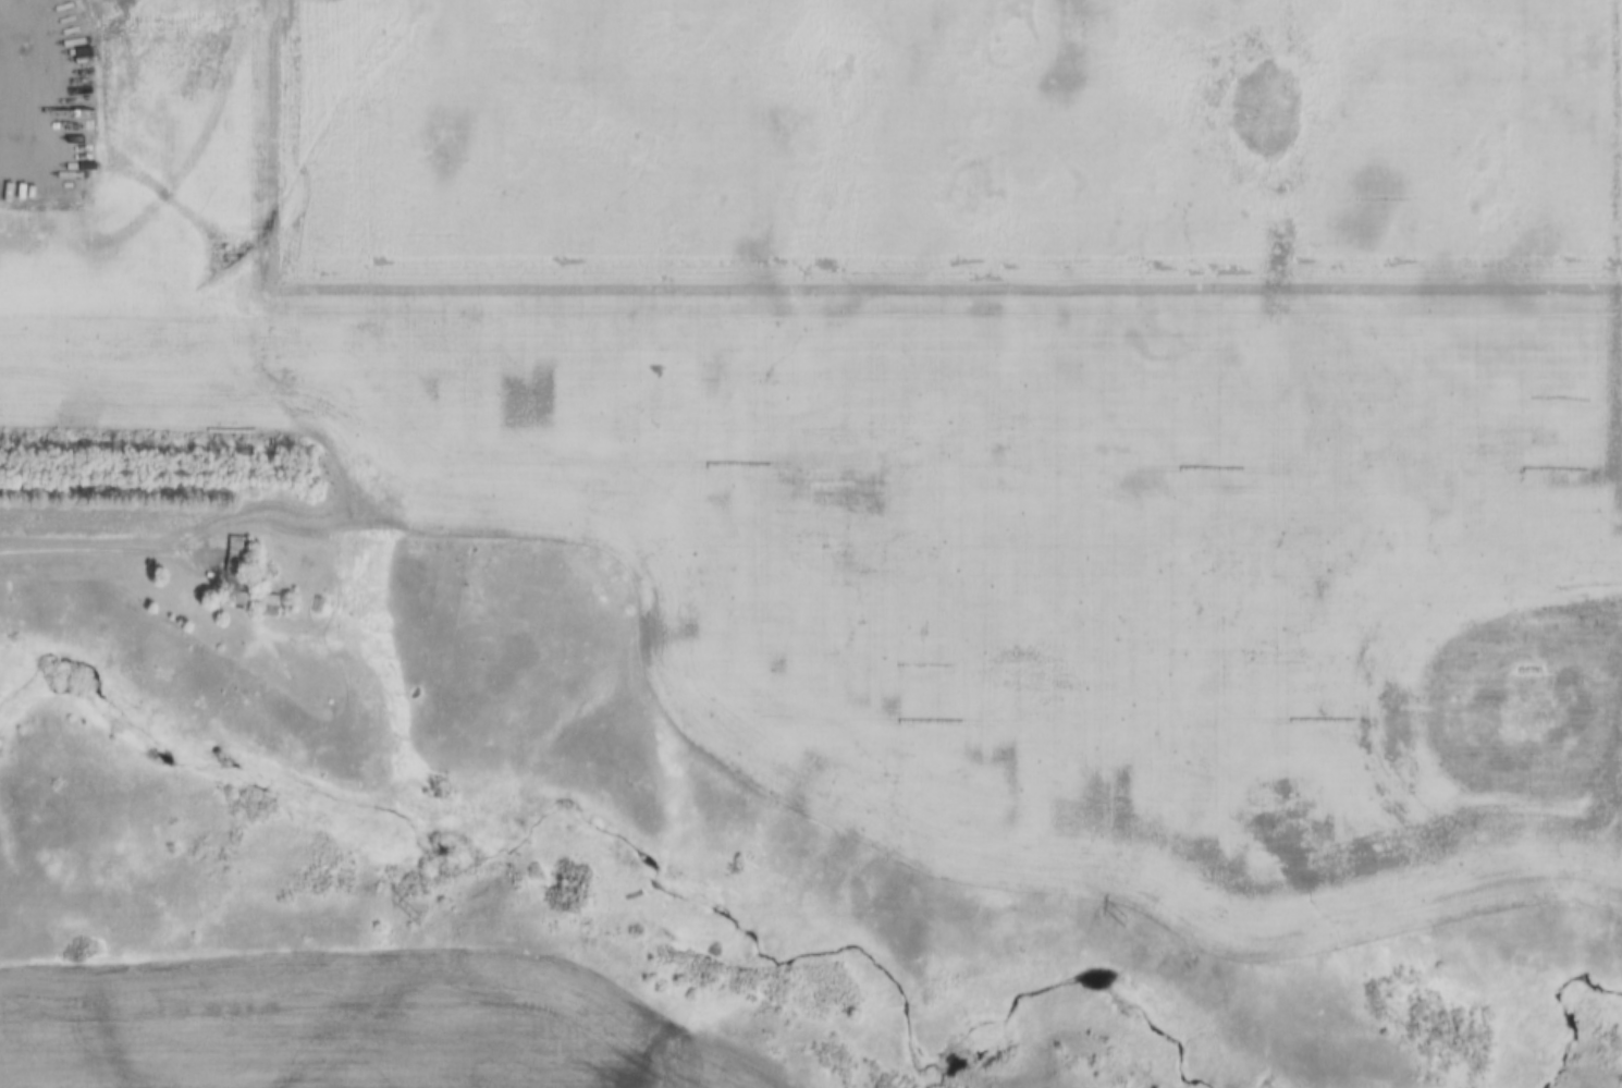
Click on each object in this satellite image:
road: (123, 546)
building: (233, 555)
building: (249, 602)

